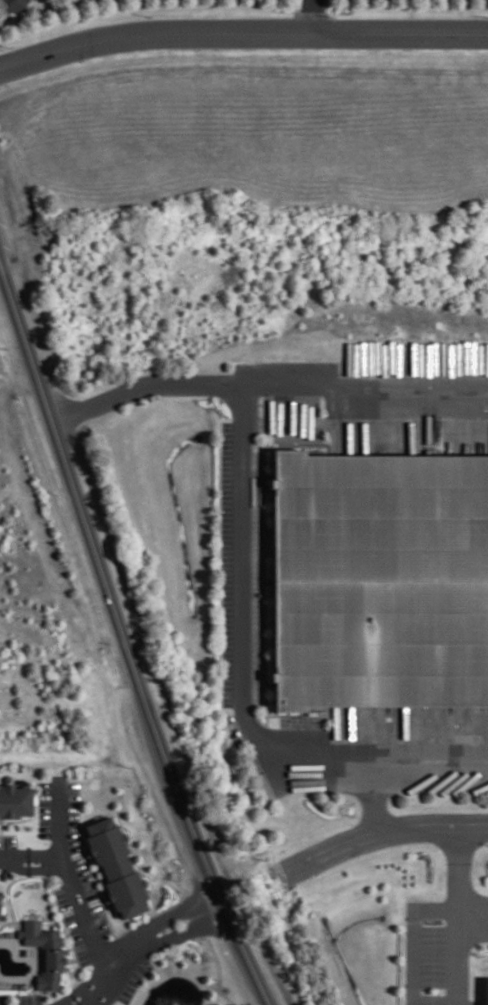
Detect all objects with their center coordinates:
building: (12, 5)
road: (310, 16)
road: (241, 31)
road: (364, 383)
road: (143, 384)
building: (383, 582)
road: (124, 636)
road: (239, 683)
street lamp: (128, 783)
building: (14, 799)
road: (375, 800)
parking lot: (45, 808)
parking lot: (72, 815)
road: (0, 827)
road: (383, 833)
road: (7, 834)
parking lot: (7, 841)
street lamp: (45, 841)
road: (31, 852)
road: (73, 855)
building: (115, 865)
road: (32, 868)
parking lot: (3, 871)
road: (69, 877)
parking lot: (85, 877)
parking lot: (62, 896)
road: (176, 902)
road: (80, 906)
road: (176, 913)
road: (459, 915)
road: (473, 917)
parking lot: (100, 918)
road: (27, 920)
road: (16, 924)
road: (65, 927)
road: (183, 931)
road: (413, 933)
parking lot: (77, 938)
building: (44, 952)
parking lot: (433, 955)
road: (72, 959)
street lamp: (88, 966)
road: (106, 975)
parking lot: (134, 979)
building: (487, 991)
road: (33, 992)
parking lot: (26, 998)
parking lot: (3, 999)
parking lot: (433, 999)
fountain: (175, 1004)

